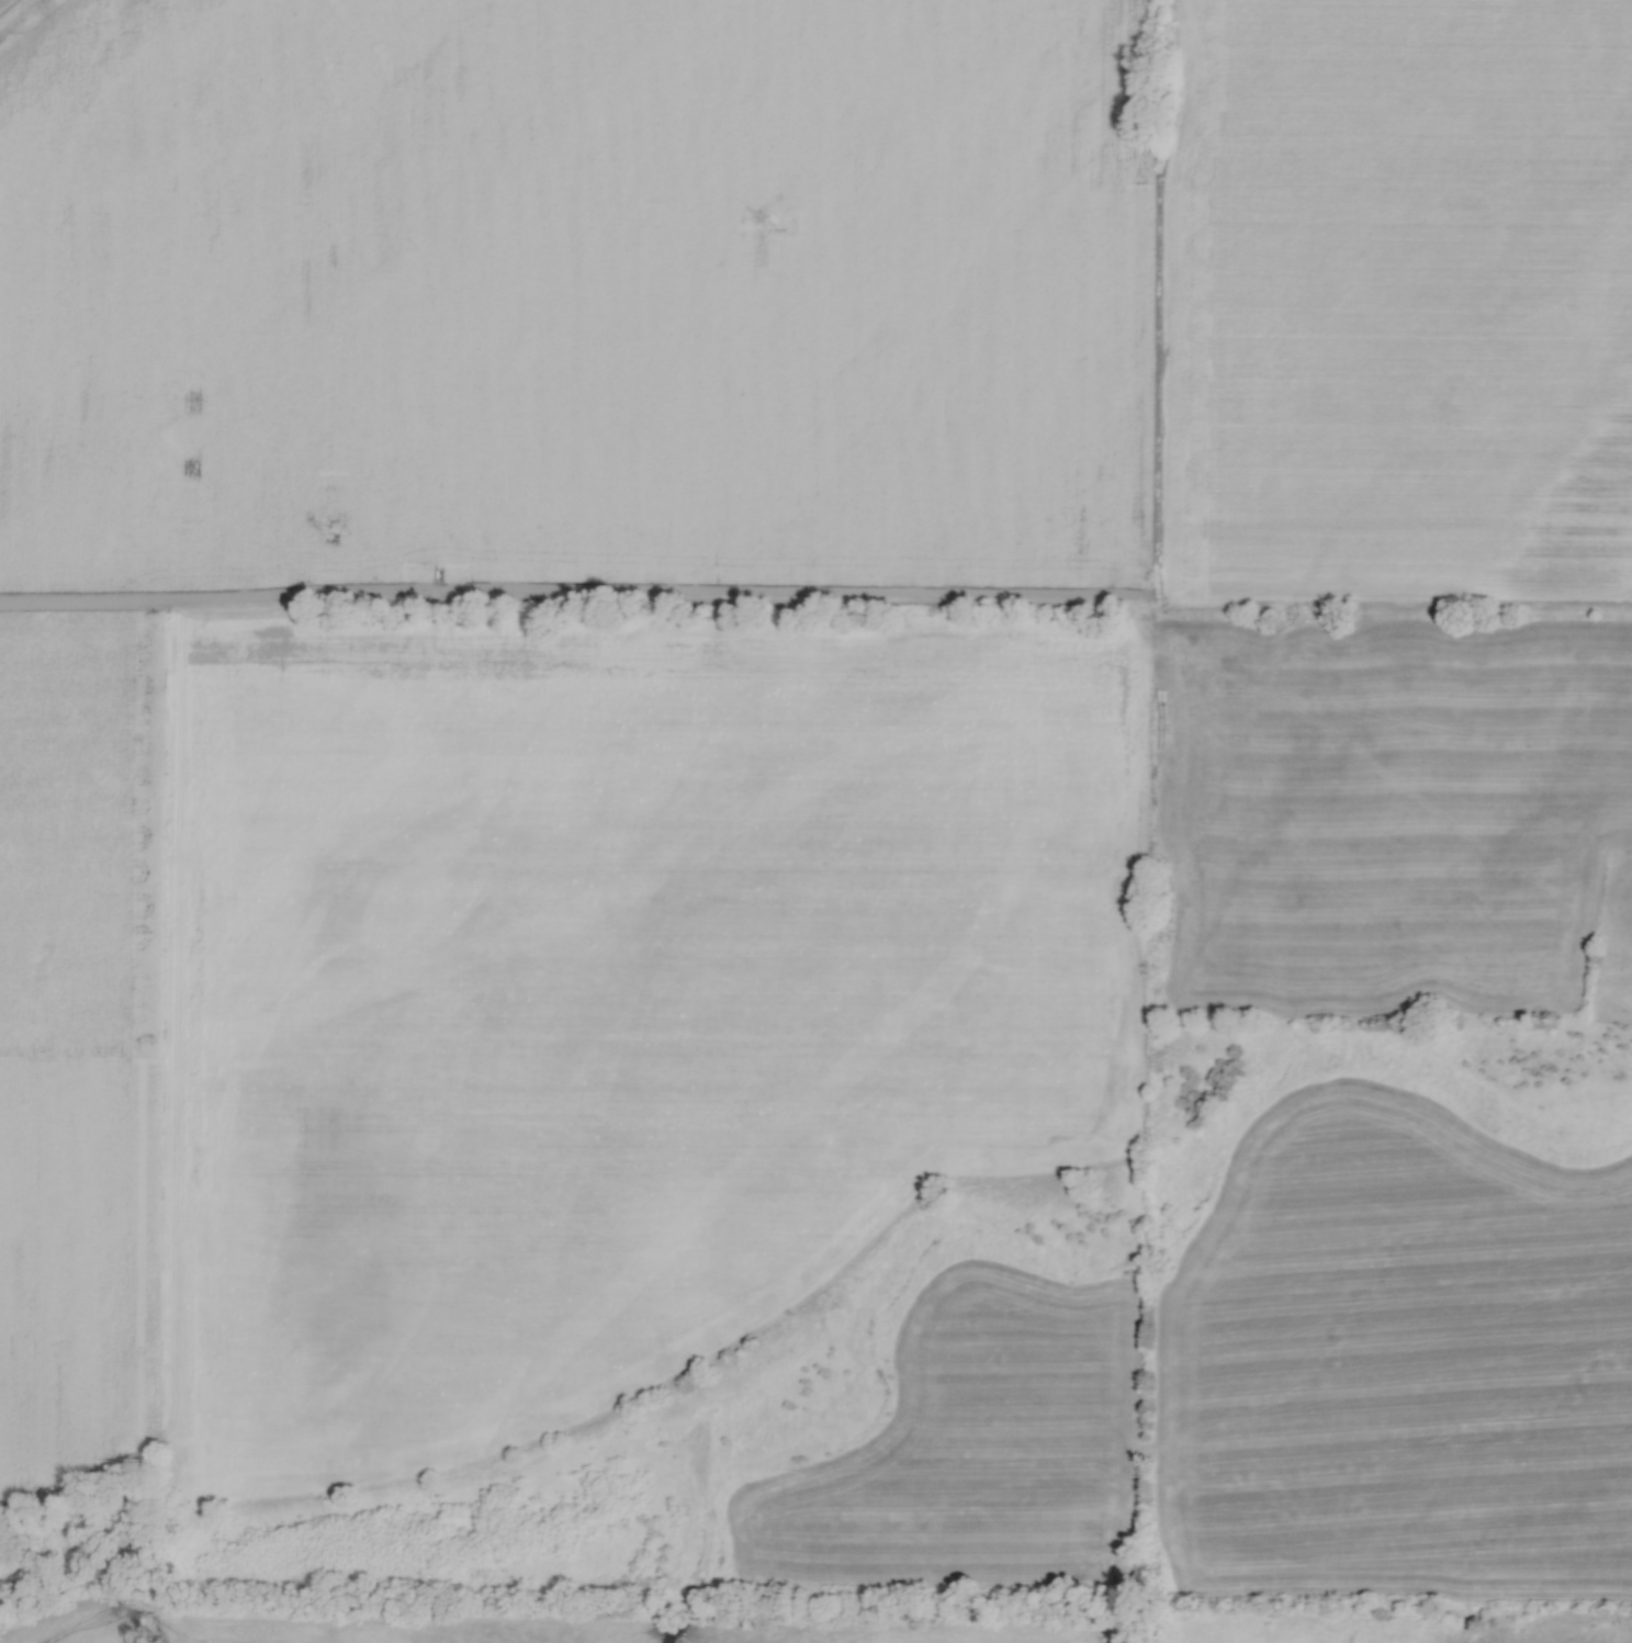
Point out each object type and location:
power tower: (767, 220)
power tower: (329, 530)

